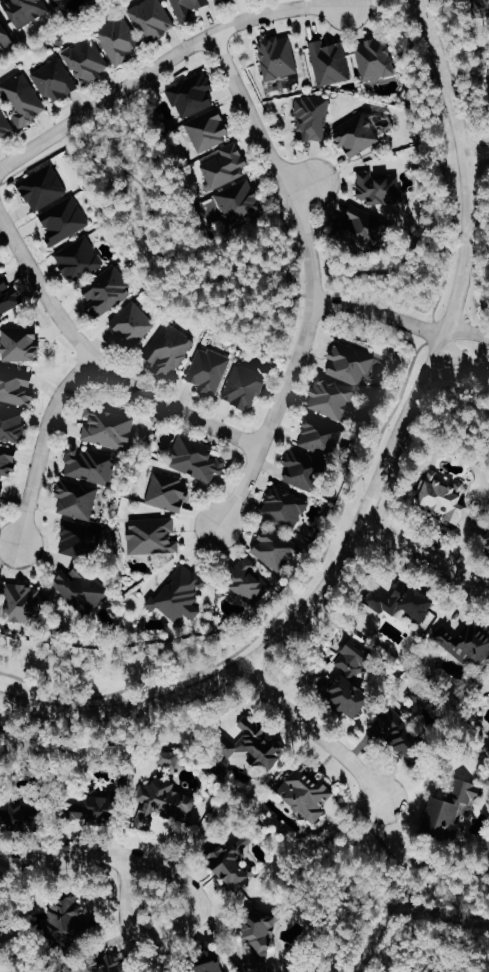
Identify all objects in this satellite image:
building: (56, 0)
building: (221, 1)
building: (190, 7)
building: (28, 11)
building: (154, 19)
building: (5, 36)
building: (119, 40)
building: (279, 57)
building: (377, 59)
building: (88, 60)
road: (161, 63)
building: (331, 63)
building: (56, 81)
building: (193, 95)
building: (25, 98)
building: (313, 117)
building: (5, 124)
building: (210, 129)
building: (359, 135)
road: (477, 153)
building: (227, 166)
building: (44, 188)
building: (380, 188)
road: (301, 189)
building: (65, 220)
building: (360, 226)
building: (80, 259)
building: (2, 265)
road: (458, 269)
road: (312, 279)
building: (108, 290)
building: (8, 297)
road: (379, 315)
building: (134, 324)
road: (465, 328)
building: (22, 343)
building: (170, 349)
road: (462, 358)
road: (101, 362)
building: (352, 364)
building: (210, 370)
road: (470, 373)
building: (17, 386)
building: (245, 387)
building: (333, 398)
building: (12, 423)
building: (109, 427)
building: (322, 433)
road: (42, 442)
building: (198, 458)
road: (366, 460)
building: (8, 461)
building: (92, 465)
building: (306, 470)
building: (169, 492)
building: (2, 496)
building: (78, 499)
building: (448, 499)
building: (287, 506)
building: (154, 535)
building: (277, 548)
road: (425, 555)
building: (82, 567)
building: (247, 579)
building: (181, 594)
building: (406, 601)
building: (22, 605)
building: (467, 642)
building: (354, 678)
road: (213, 684)
road: (317, 733)
building: (407, 739)
building: (258, 743)
building: (173, 760)
building: (311, 794)
building: (452, 795)
building: (168, 801)
building: (100, 810)
building: (453, 813)
building: (27, 818)
road: (63, 857)
building: (236, 864)
building: (0, 906)
building: (66, 919)
road: (178, 926)
building: (263, 941)
road: (425, 948)
building: (114, 964)
building: (216, 967)

